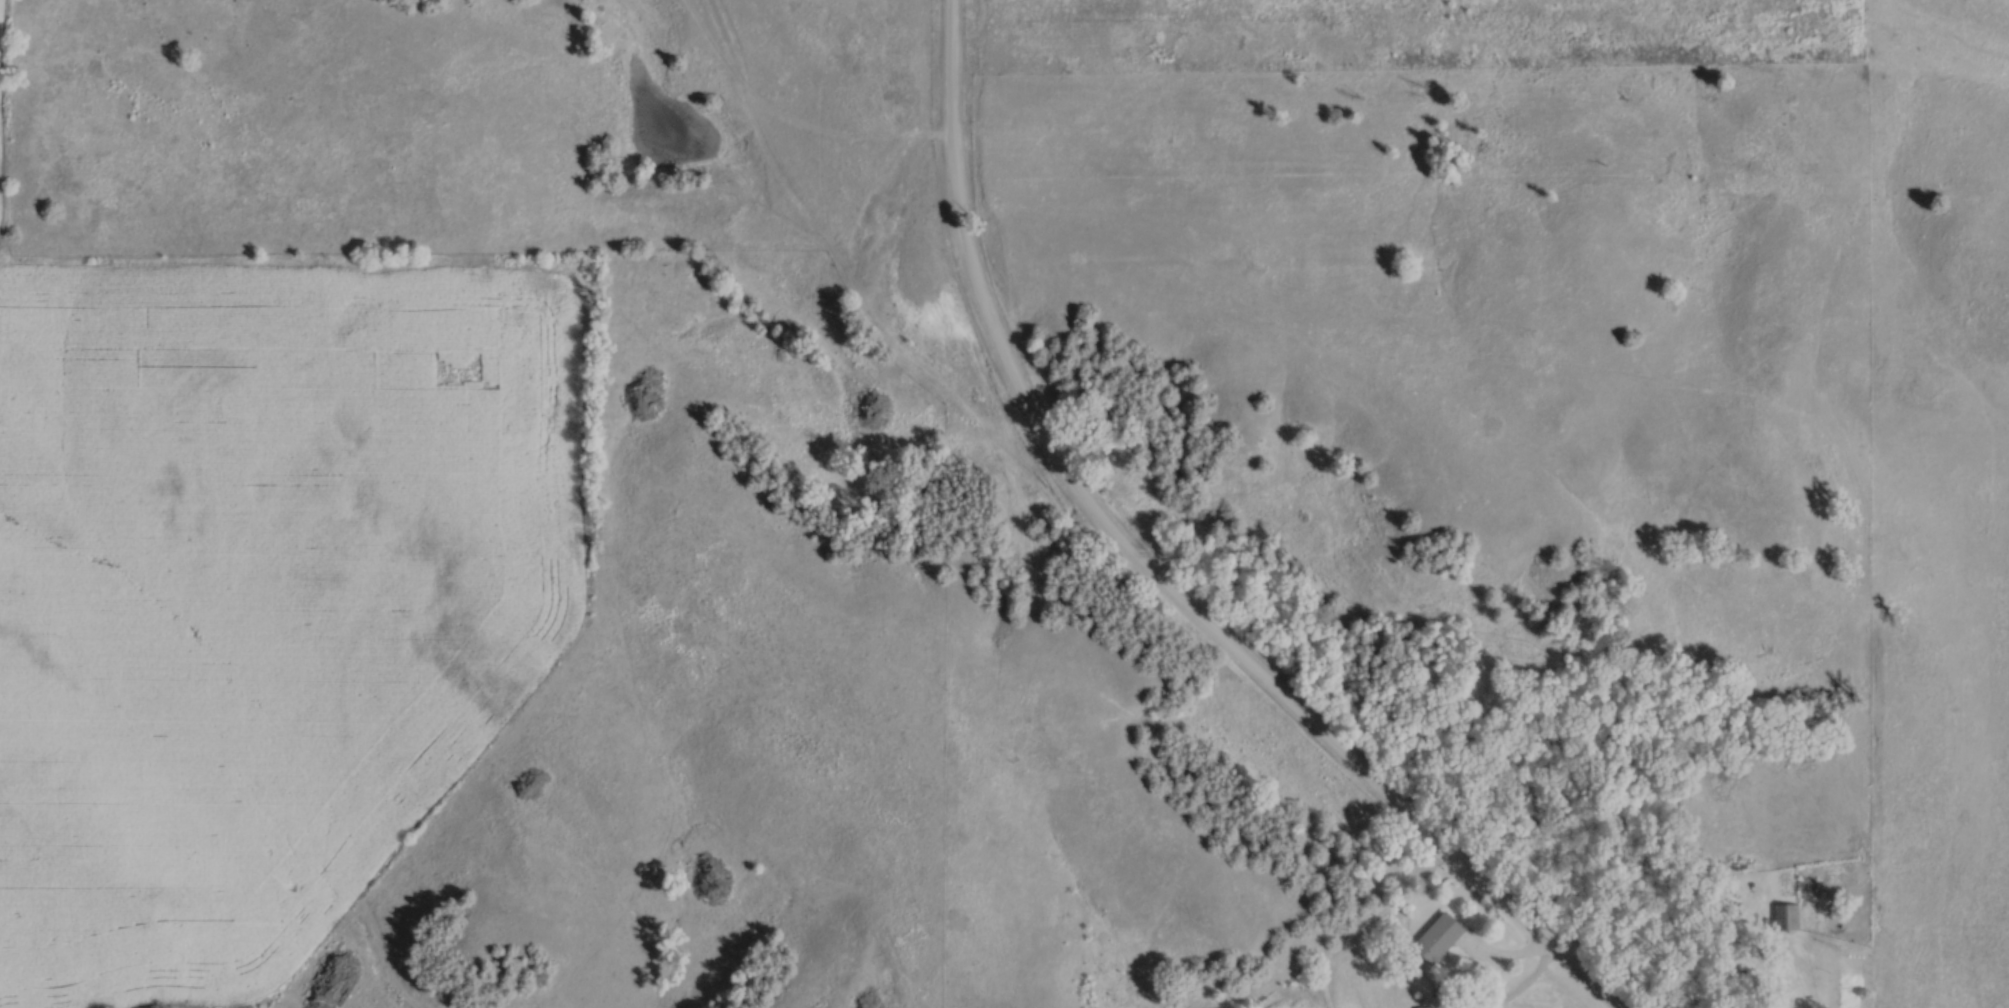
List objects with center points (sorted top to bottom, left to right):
road: (1152, 575)
building: (1788, 913)
building: (1437, 937)
road: (1796, 980)
building: (1427, 1007)

